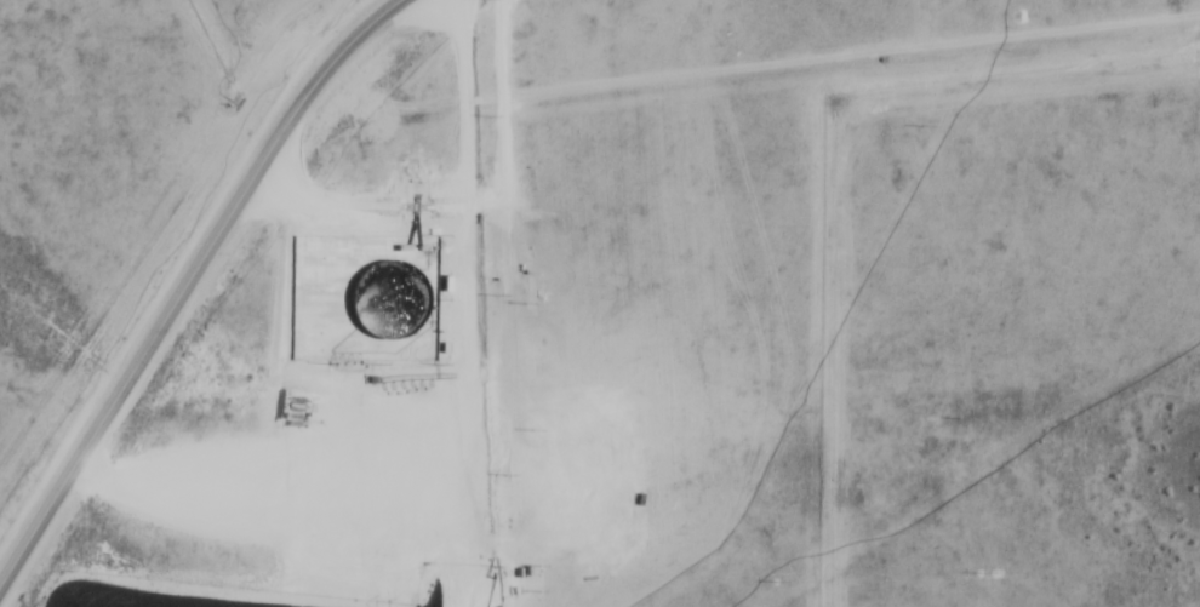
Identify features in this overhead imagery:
road: (377, 181)
road: (193, 281)
road: (327, 493)

